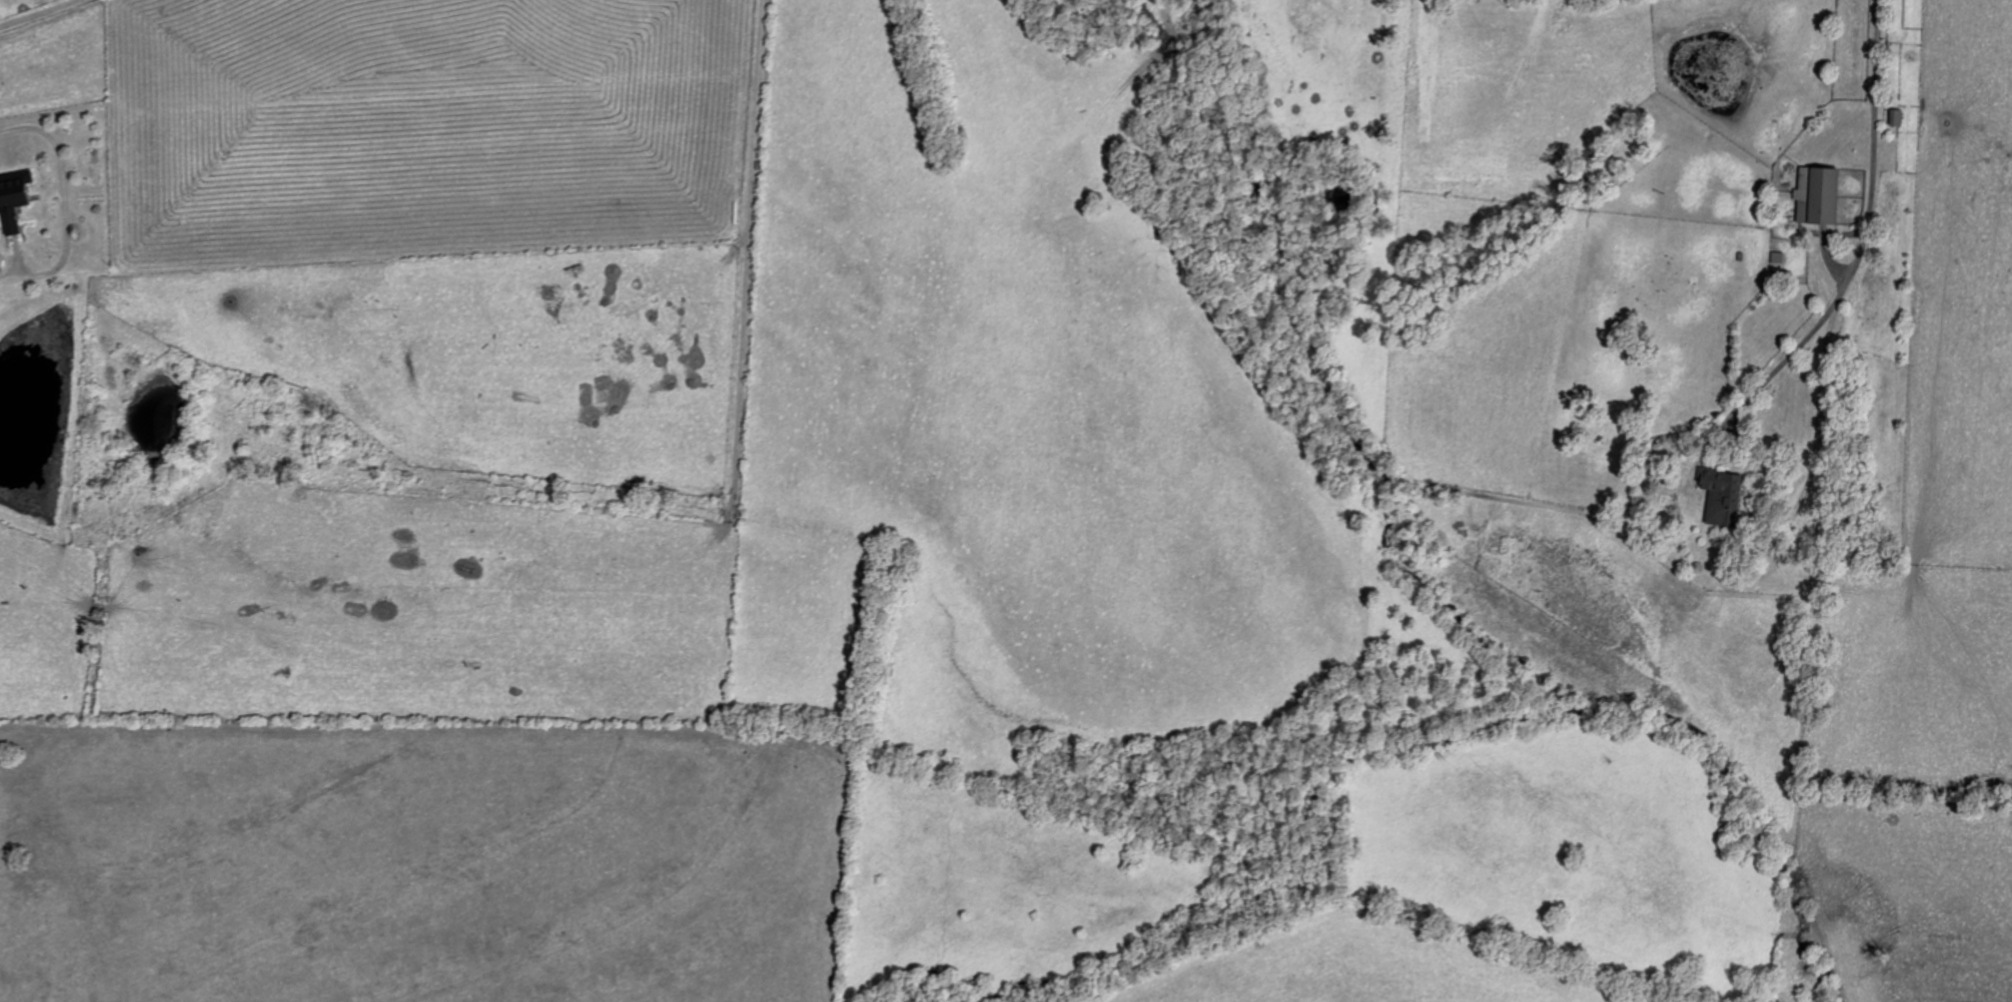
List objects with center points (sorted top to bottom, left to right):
road: (26, 9)
building: (1895, 118)
building: (1814, 197)
building: (12, 200)
road: (1859, 246)
building: (1776, 258)
building: (1719, 497)

